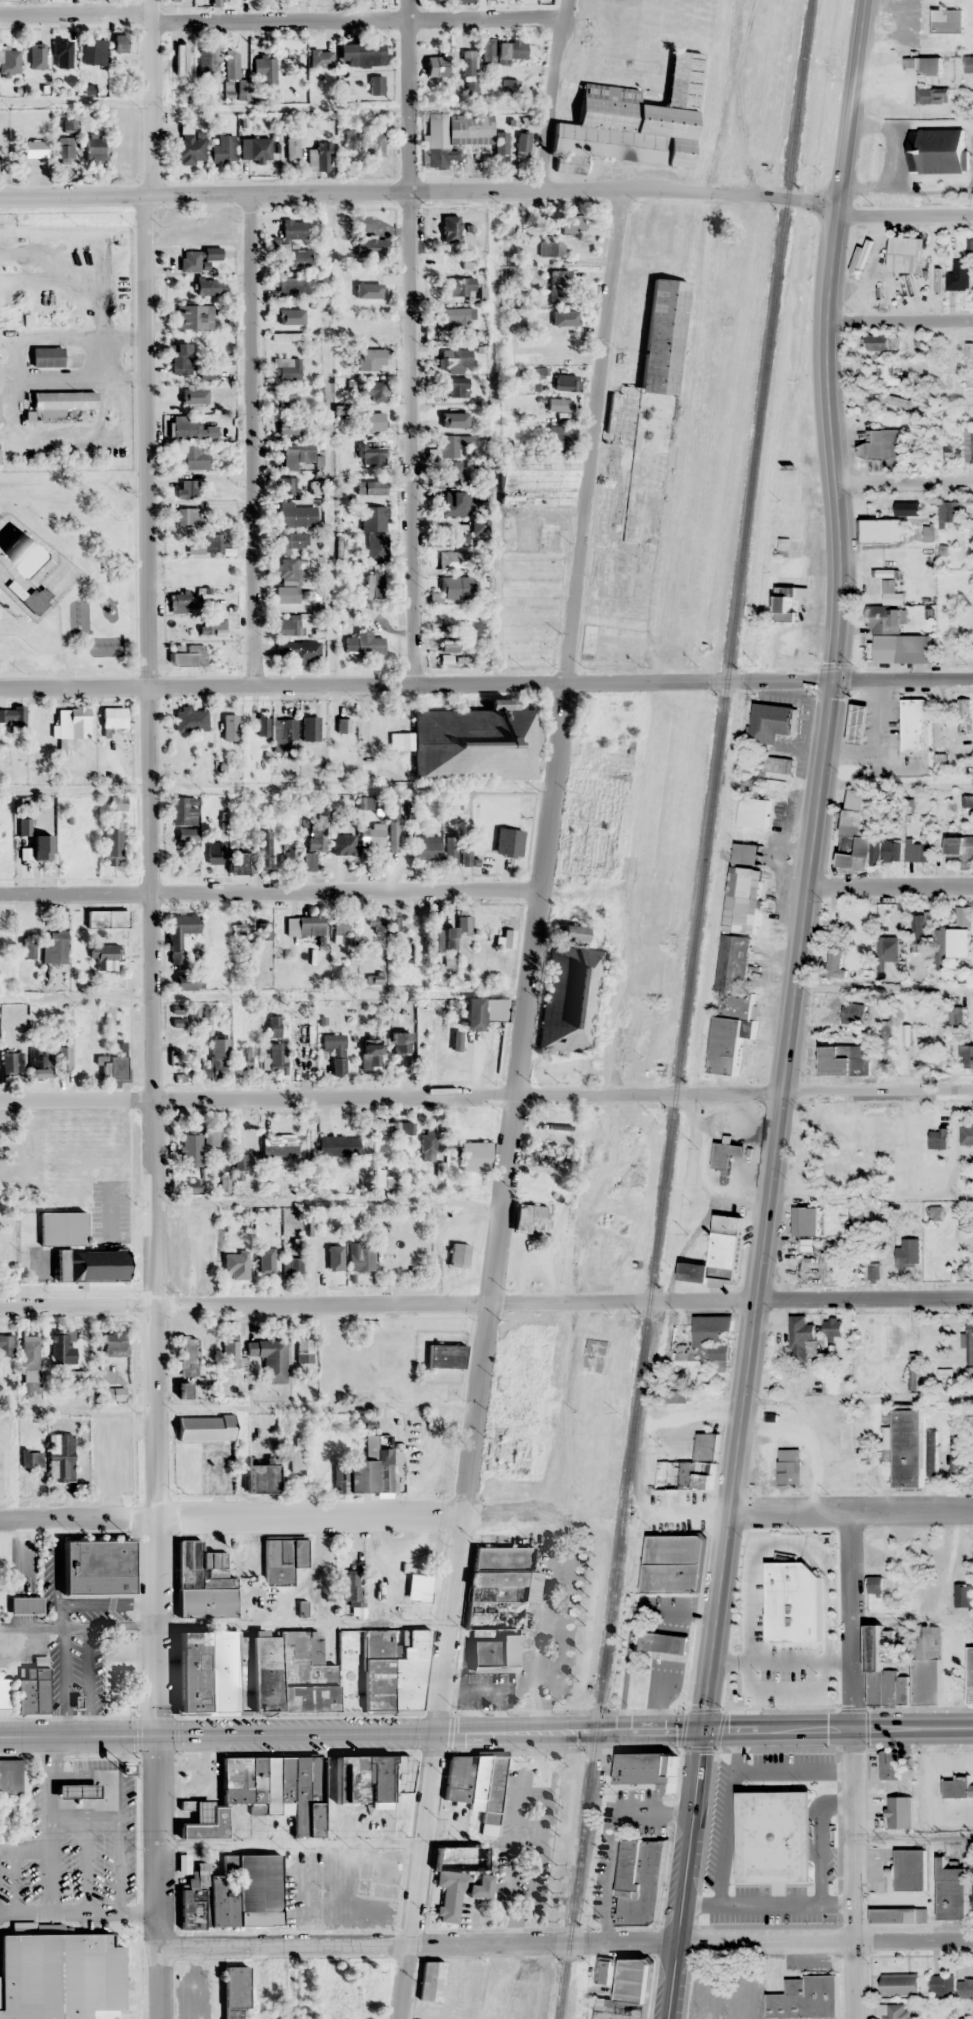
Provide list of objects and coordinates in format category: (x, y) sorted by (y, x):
building: (947, 21)
road: (282, 23)
building: (119, 43)
building: (35, 47)
building: (504, 51)
building: (91, 53)
building: (362, 54)
building: (63, 55)
building: (320, 58)
building: (207, 59)
building: (10, 61)
building: (182, 64)
building: (968, 64)
building: (468, 65)
building: (436, 66)
building: (929, 66)
building: (264, 70)
building: (376, 85)
building: (510, 87)
road: (553, 95)
building: (932, 96)
road: (151, 98)
building: (632, 122)
building: (454, 136)
building: (351, 139)
building: (523, 143)
building: (376, 144)
building: (292, 147)
building: (501, 147)
building: (189, 148)
building: (223, 149)
building: (255, 149)
building: (64, 150)
building: (96, 150)
building: (937, 151)
building: (31, 152)
building: (320, 157)
road: (418, 190)
road: (904, 207)
building: (573, 224)
building: (294, 229)
building: (450, 229)
building: (372, 247)
building: (551, 249)
building: (905, 254)
building: (197, 258)
building: (297, 258)
building: (959, 276)
building: (373, 279)
building: (205, 285)
building: (292, 285)
building: (559, 285)
building: (459, 289)
building: (293, 315)
building: (193, 316)
building: (452, 318)
road: (896, 319)
building: (569, 320)
building: (372, 328)
building: (288, 336)
building: (217, 339)
road: (411, 343)
building: (880, 343)
building: (920, 345)
building: (46, 356)
building: (371, 356)
building: (181, 359)
building: (454, 360)
building: (969, 365)
building: (286, 368)
building: (205, 372)
building: (651, 374)
building: (890, 376)
building: (563, 382)
building: (457, 387)
building: (372, 390)
building: (189, 399)
building: (897, 401)
building: (287, 402)
building: (59, 406)
building: (373, 421)
building: (183, 426)
building: (289, 426)
building: (559, 436)
road: (251, 438)
building: (971, 445)
building: (451, 446)
building: (887, 446)
building: (951, 451)
building: (296, 455)
building: (371, 455)
building: (453, 473)
building: (537, 477)
road: (904, 484)
building: (286, 485)
building: (370, 487)
building: (187, 488)
building: (455, 503)
building: (949, 512)
building: (297, 514)
building: (187, 516)
building: (373, 517)
building: (477, 527)
building: (879, 530)
building: (291, 540)
building: (209, 544)
building: (375, 546)
building: (455, 561)
building: (531, 568)
building: (186, 571)
building: (288, 580)
building: (374, 585)
building: (456, 587)
building: (30, 596)
building: (183, 602)
building: (787, 602)
building: (883, 619)
building: (210, 624)
building: (288, 625)
building: (528, 628)
building: (364, 643)
building: (902, 649)
building: (299, 651)
building: (198, 654)
traffic signals: (836, 680)
road: (904, 680)
road: (417, 686)
building: (964, 714)
building: (12, 715)
building: (113, 717)
building: (191, 719)
building: (72, 722)
building: (770, 722)
building: (858, 723)
building: (262, 724)
building: (914, 724)
building: (229, 727)
building: (288, 734)
building: (475, 743)
building: (778, 765)
building: (117, 803)
building: (753, 806)
building: (183, 810)
building: (853, 824)
building: (186, 834)
building: (374, 836)
building: (315, 838)
building: (508, 842)
building: (343, 844)
building: (113, 846)
building: (427, 846)
building: (41, 847)
building: (961, 849)
building: (450, 850)
building: (265, 851)
building: (214, 852)
building: (917, 852)
building: (287, 854)
building: (745, 854)
building: (401, 855)
building: (464, 860)
building: (239, 861)
road: (813, 866)
road: (892, 886)
road: (269, 894)
building: (742, 900)
building: (107, 918)
building: (393, 923)
building: (304, 924)
building: (375, 924)
building: (464, 927)
building: (340, 928)
building: (237, 929)
building: (919, 929)
building: (261, 933)
building: (179, 934)
building: (961, 934)
building: (507, 938)
building: (435, 939)
building: (57, 945)
building: (28, 946)
building: (941, 949)
building: (891, 950)
building: (103, 958)
road: (532, 961)
building: (834, 961)
road: (150, 966)
building: (374, 980)
building: (569, 993)
building: (824, 1000)
building: (731, 1006)
railway: (685, 1009)
building: (484, 1012)
building: (857, 1014)
building: (273, 1026)
building: (437, 1027)
building: (456, 1041)
building: (401, 1043)
building: (334, 1052)
building: (370, 1055)
building: (244, 1056)
building: (967, 1056)
building: (275, 1058)
building: (63, 1059)
building: (216, 1059)
building: (844, 1060)
building: (11, 1062)
building: (37, 1063)
building: (116, 1067)
road: (875, 1093)
road: (388, 1099)
building: (212, 1133)
building: (966, 1135)
building: (938, 1138)
building: (278, 1143)
building: (191, 1145)
building: (337, 1145)
building: (428, 1147)
building: (548, 1154)
building: (725, 1154)
building: (475, 1156)
building: (848, 1168)
building: (530, 1219)
building: (810, 1221)
building: (61, 1228)
building: (854, 1228)
building: (887, 1245)
building: (908, 1252)
building: (458, 1254)
building: (360, 1256)
building: (717, 1256)
building: (240, 1262)
building: (328, 1262)
building: (830, 1263)
building: (88, 1265)
building: (292, 1268)
road: (864, 1299)
road: (378, 1304)
building: (832, 1327)
building: (801, 1340)
building: (890, 1340)
building: (703, 1341)
building: (970, 1343)
building: (112, 1344)
building: (6, 1345)
building: (63, 1347)
building: (229, 1354)
building: (188, 1356)
building: (445, 1356)
building: (270, 1358)
building: (30, 1365)
building: (114, 1394)
building: (366, 1422)
building: (205, 1428)
building: (377, 1440)
building: (669, 1442)
building: (908, 1449)
building: (932, 1453)
building: (955, 1454)
building: (31, 1458)
building: (60, 1458)
building: (789, 1467)
building: (691, 1468)
building: (362, 1476)
building: (261, 1479)
building: (290, 1479)
road: (851, 1515)
road: (234, 1518)
building: (282, 1560)
building: (673, 1565)
building: (96, 1568)
building: (502, 1574)
building: (204, 1581)
building: (780, 1583)
building: (874, 1585)
building: (348, 1586)
building: (963, 1596)
building: (25, 1606)
road: (852, 1621)
building: (666, 1647)
building: (486, 1656)
building: (926, 1665)
building: (796, 1667)
building: (386, 1669)
building: (884, 1670)
building: (253, 1673)
building: (970, 1675)
building: (32, 1692)
building: (4, 1695)
road: (838, 1728)
traffic signals: (705, 1731)
road: (352, 1733)
traffic signals: (158, 1738)
building: (888, 1765)
building: (645, 1770)
road: (793, 1771)
building: (10, 1776)
building: (371, 1776)
building: (477, 1786)
building: (957, 1787)
building: (76, 1790)
gas station: (76, 1790)
building: (263, 1794)
building: (900, 1812)
road: (728, 1817)
road: (52, 1825)
building: (774, 1841)
building: (460, 1856)
building: (910, 1869)
road: (852, 1873)
road: (684, 1874)
road: (417, 1875)
road: (154, 1878)
building: (639, 1881)
building: (458, 1890)
building: (952, 1891)
building: (233, 1893)
building: (972, 1898)
road: (766, 1904)
road: (76, 1911)
building: (897, 1915)
road: (824, 1941)
road: (415, 1944)
building: (604, 1972)
building: (58, 1975)
building: (431, 1981)
building: (290, 1984)
building: (899, 1984)
building: (235, 1986)
building: (942, 1987)
building: (965, 1989)
building: (367, 1992)
building: (628, 1993)
building: (805, 1998)
building: (892, 2011)

